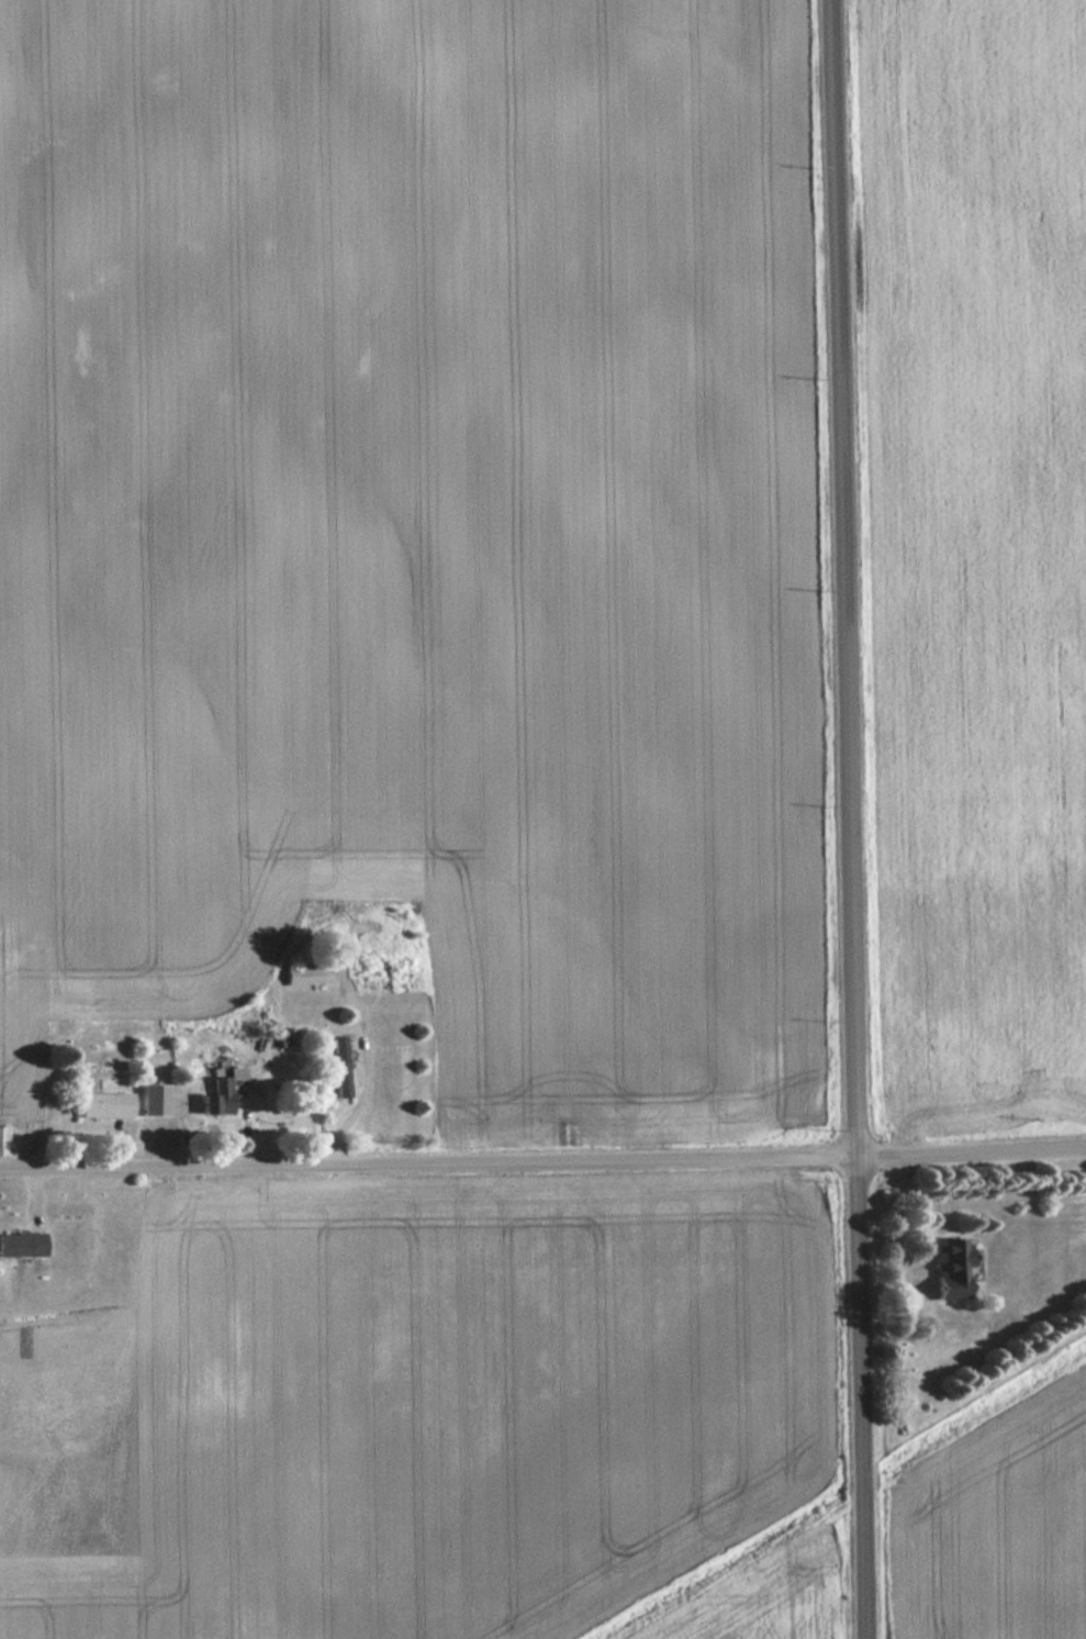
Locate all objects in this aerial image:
road: (850, 819)
building: (304, 974)
building: (342, 1067)
building: (223, 1090)
building: (154, 1100)
building: (104, 1104)
road: (542, 1163)
building: (21, 1245)
building: (951, 1269)

